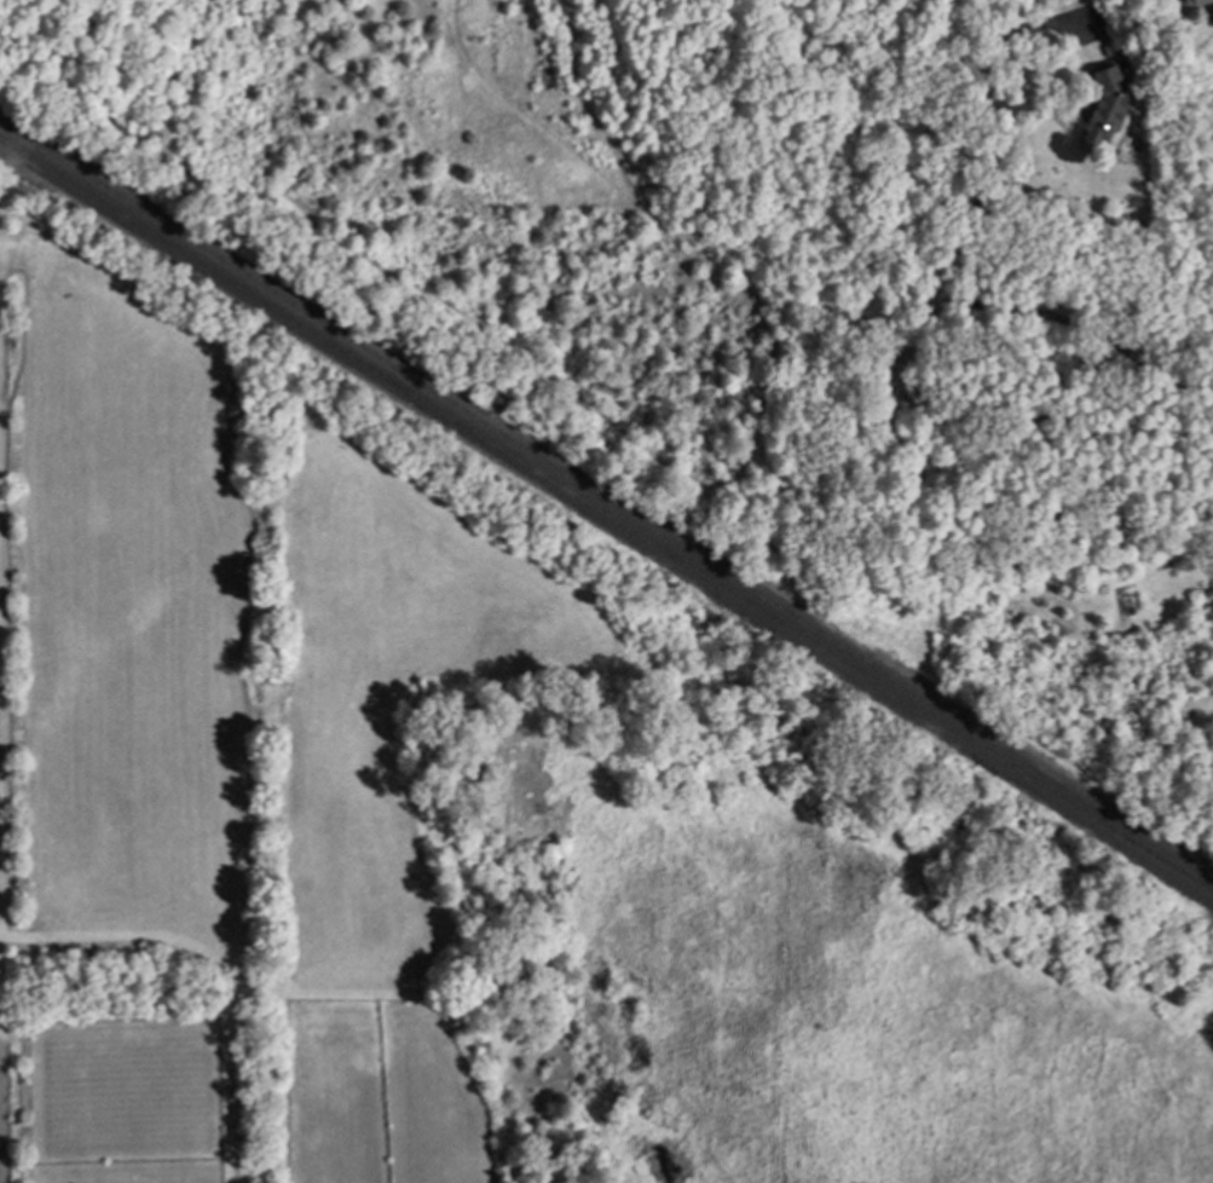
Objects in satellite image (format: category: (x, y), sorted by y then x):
building: (1194, 1)
building: (1101, 108)
building: (1041, 192)
road: (936, 260)
railway: (606, 500)
railway: (606, 517)
building: (1205, 590)

